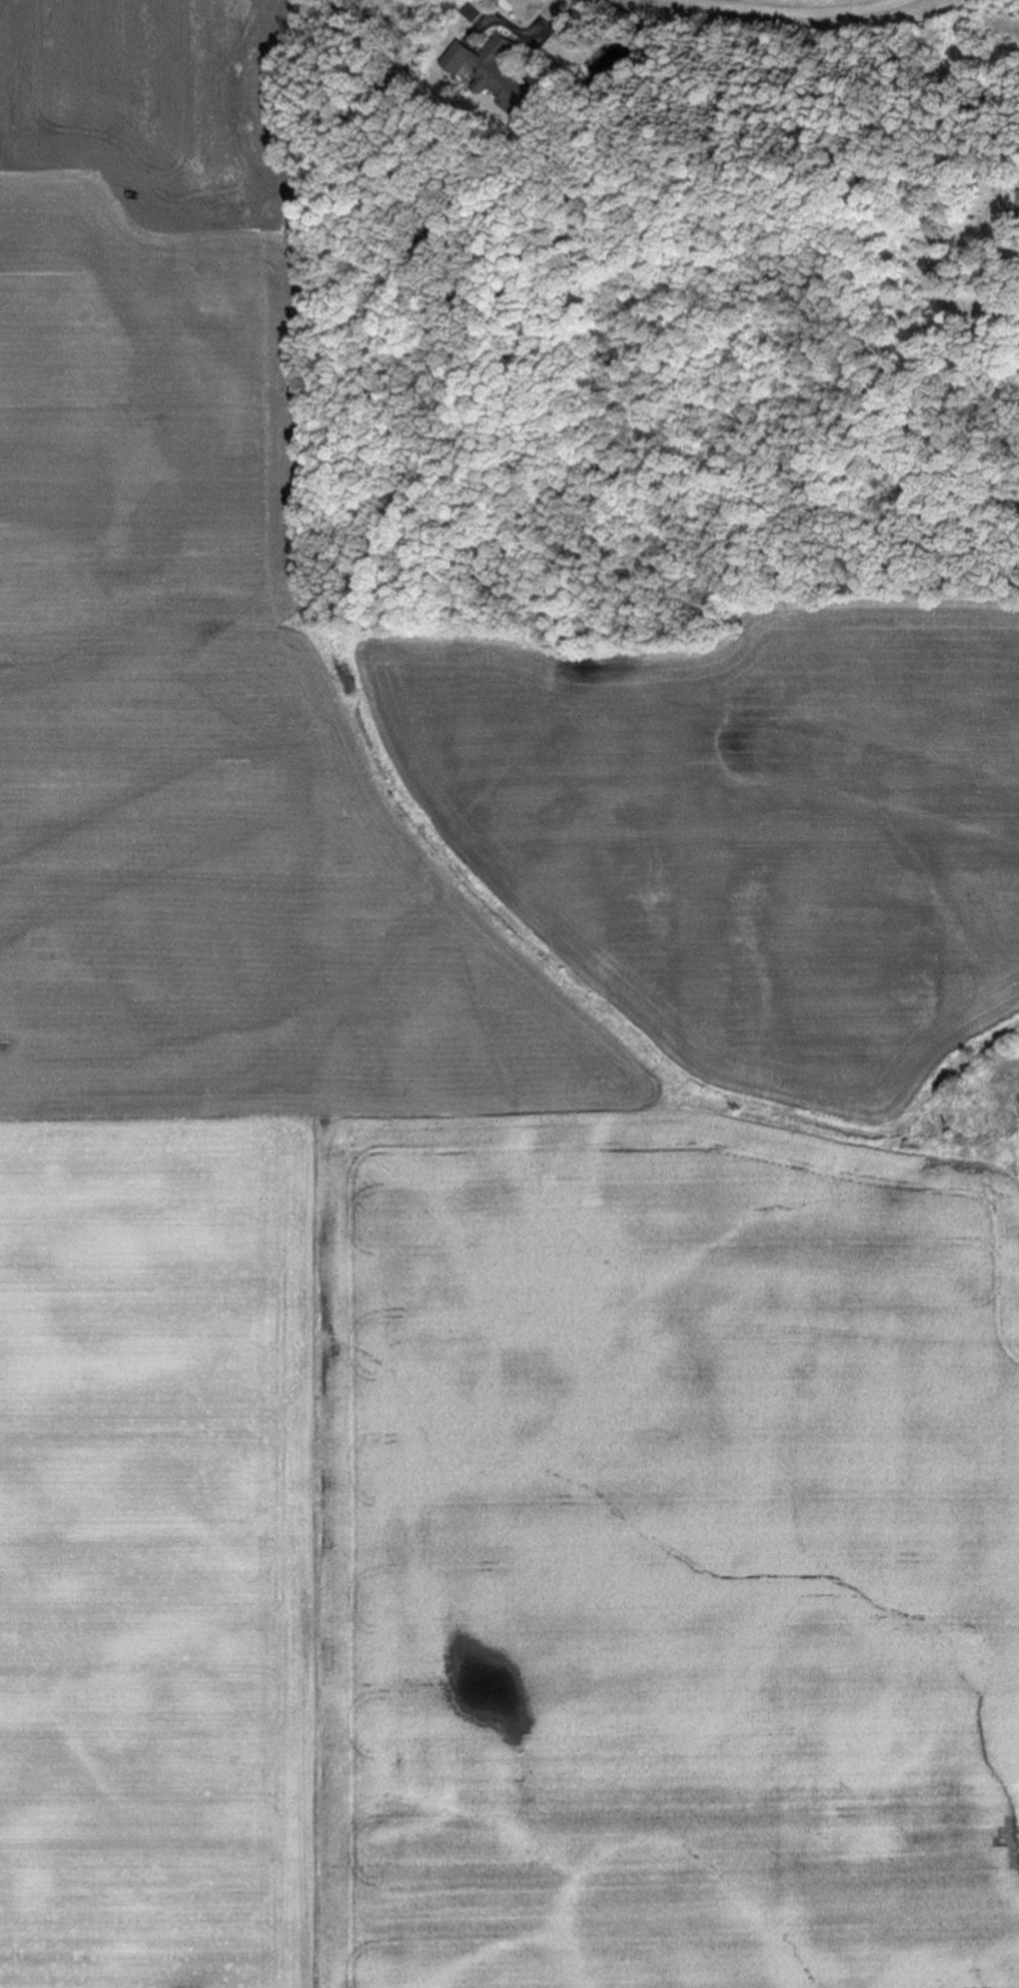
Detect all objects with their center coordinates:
road: (791, 14)
building: (485, 73)
building: (1017, 206)

